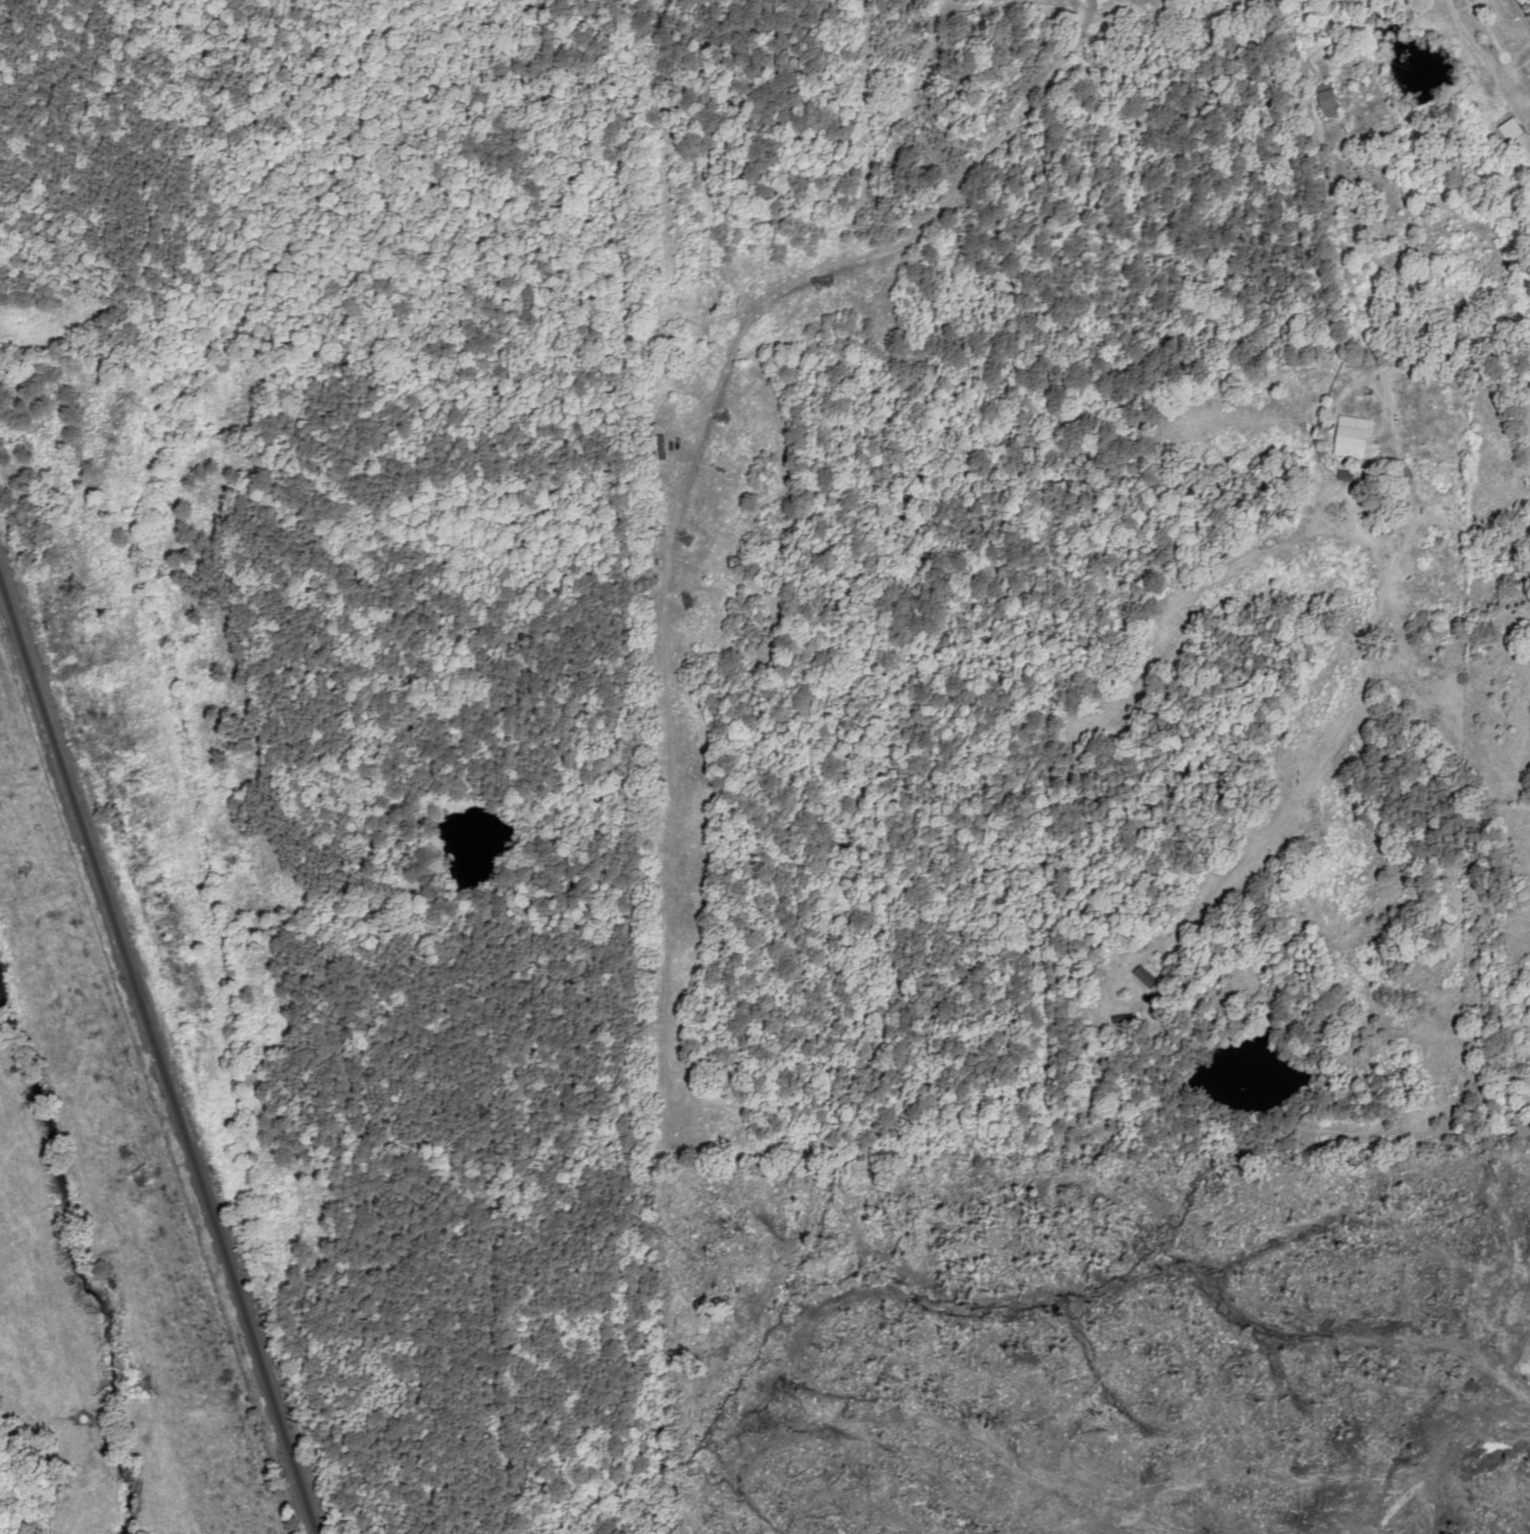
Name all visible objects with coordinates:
building: (1326, 99)
building: (1510, 129)
road: (1213, 143)
building: (1350, 437)
building: (1145, 977)
building: (1121, 1020)
railway: (149, 1064)

